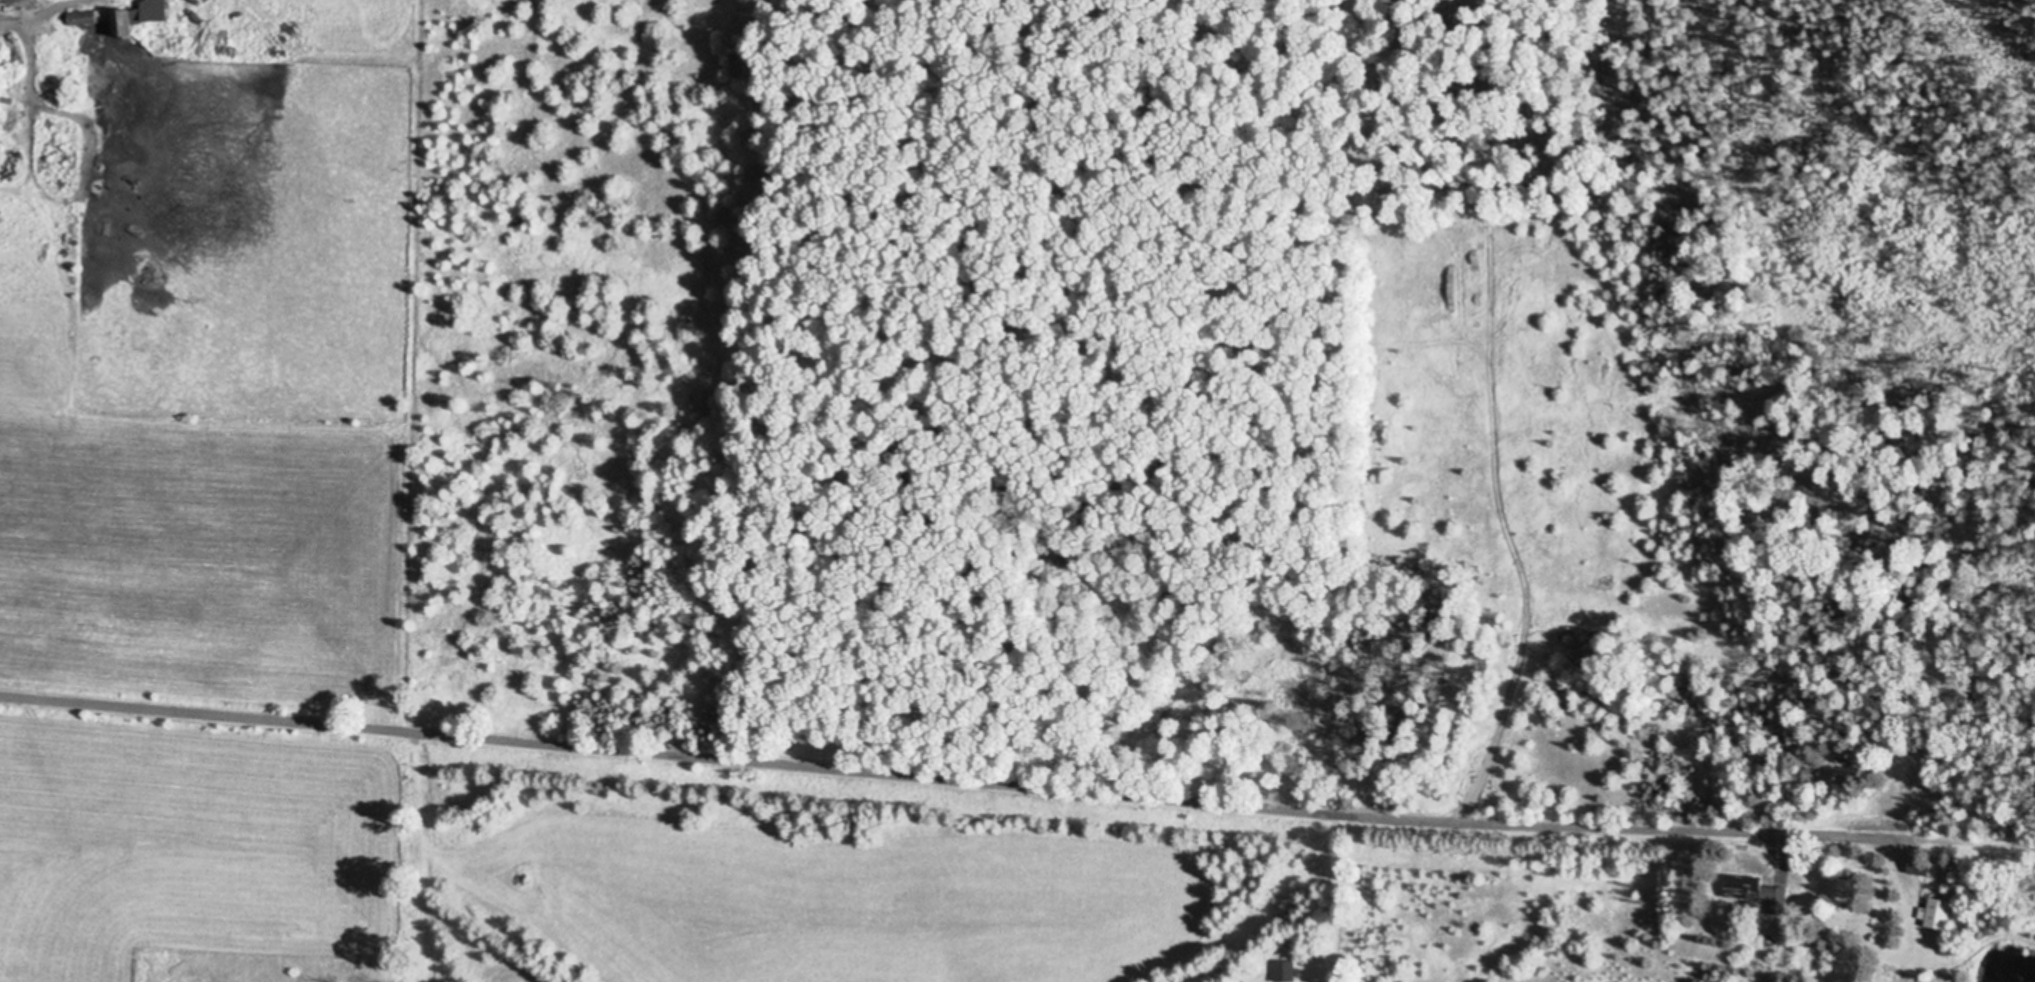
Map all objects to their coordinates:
road: (944, 781)

